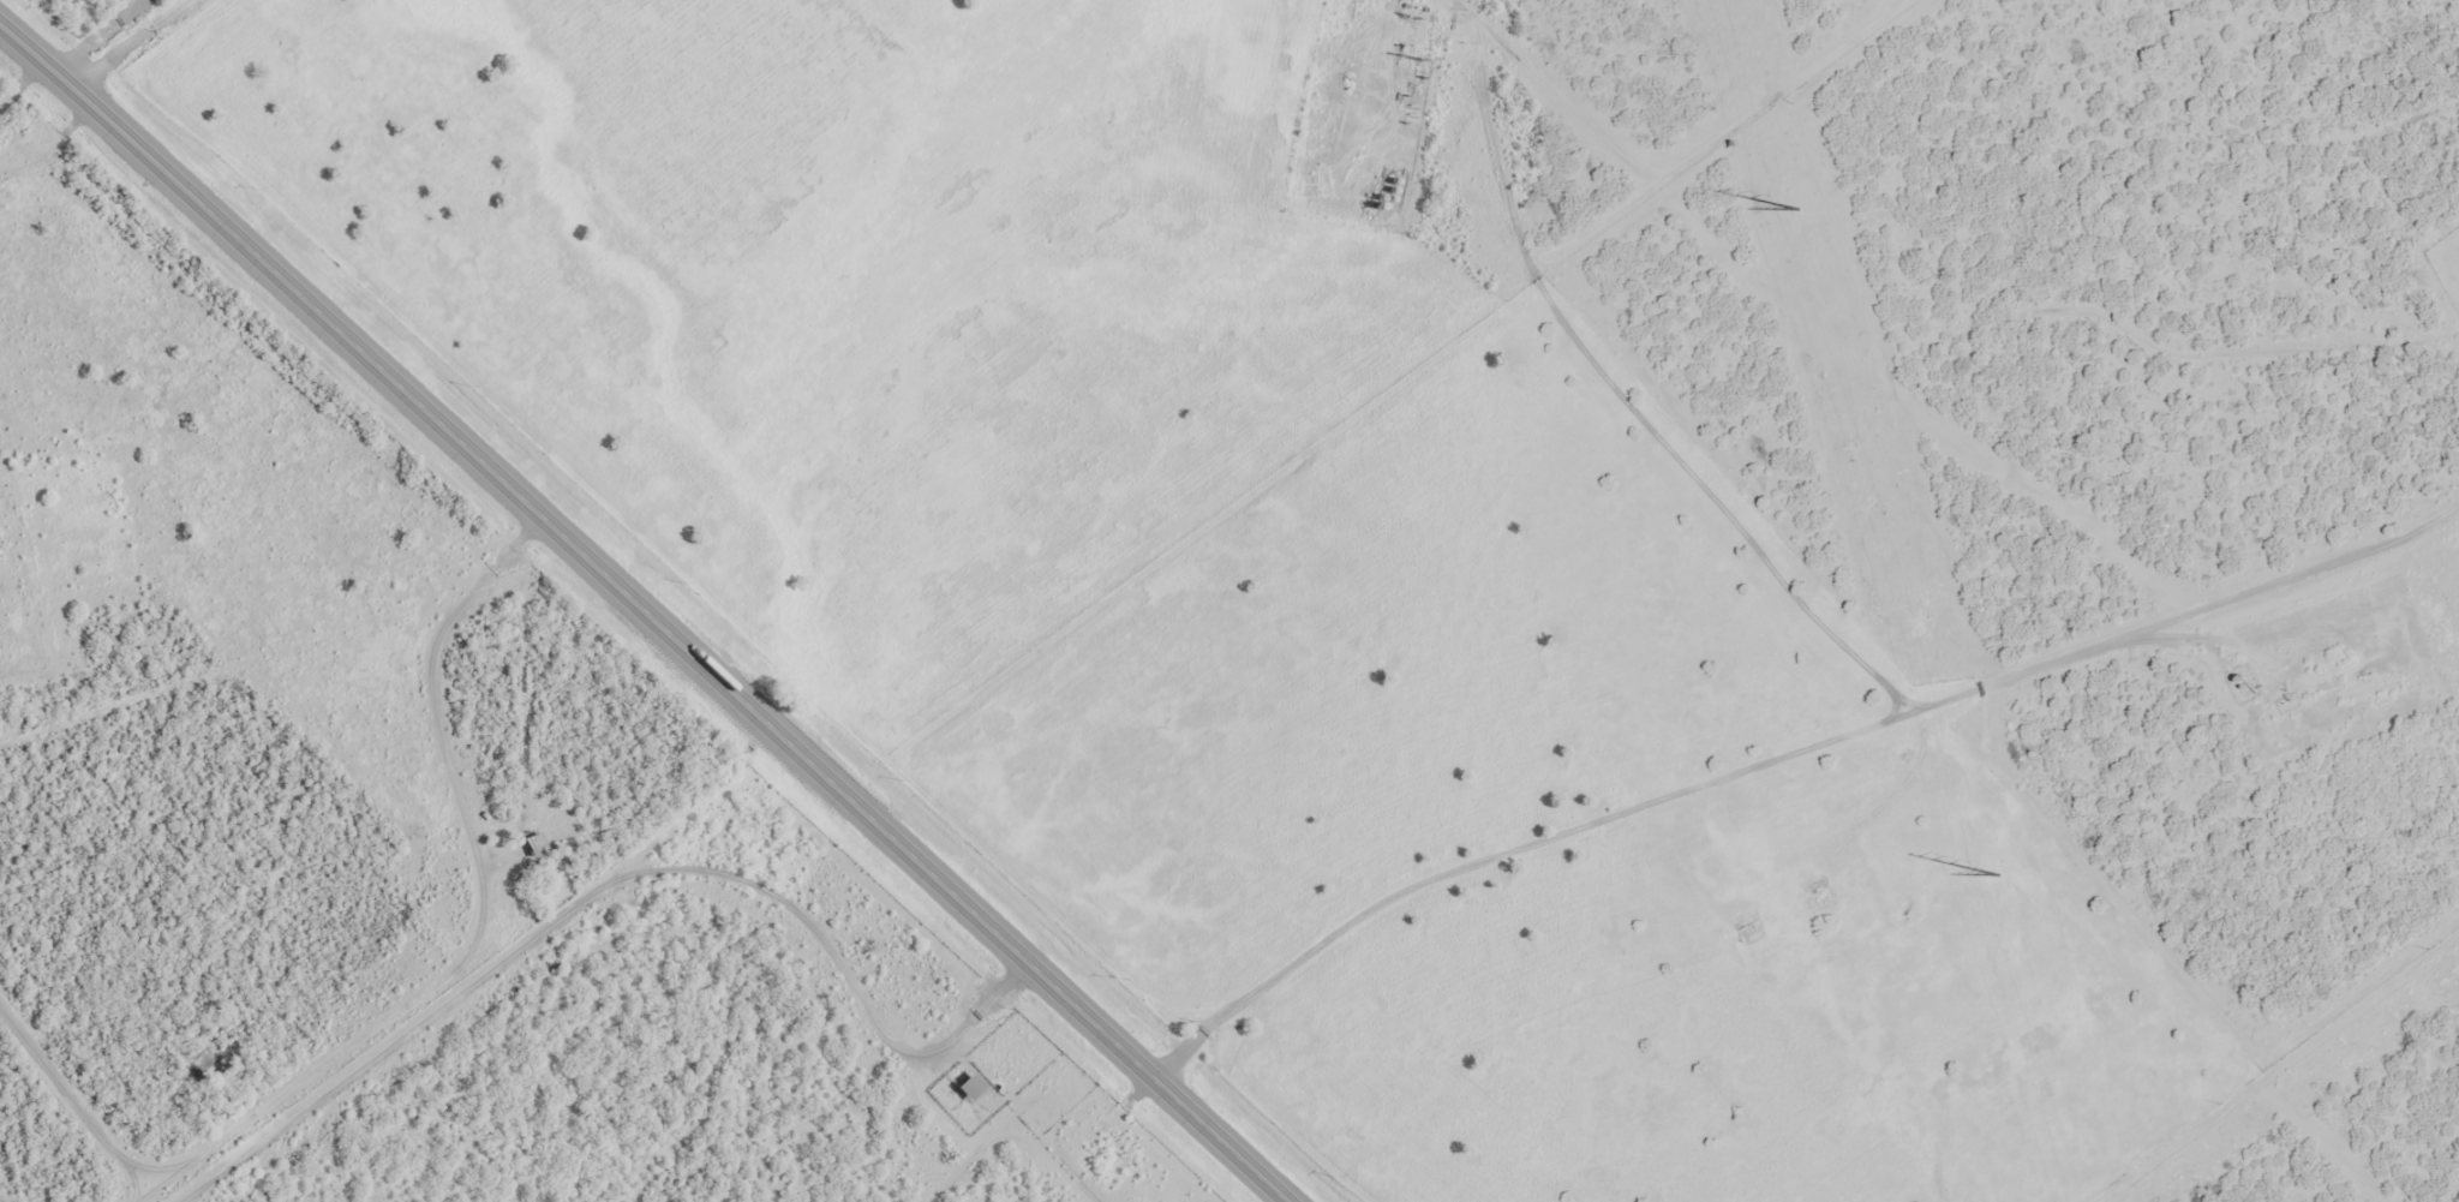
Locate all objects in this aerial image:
road: (125, 34)
power tower: (1796, 209)
road: (656, 603)
power tower: (1996, 875)
road: (1227, 951)
road: (2286, 1083)

